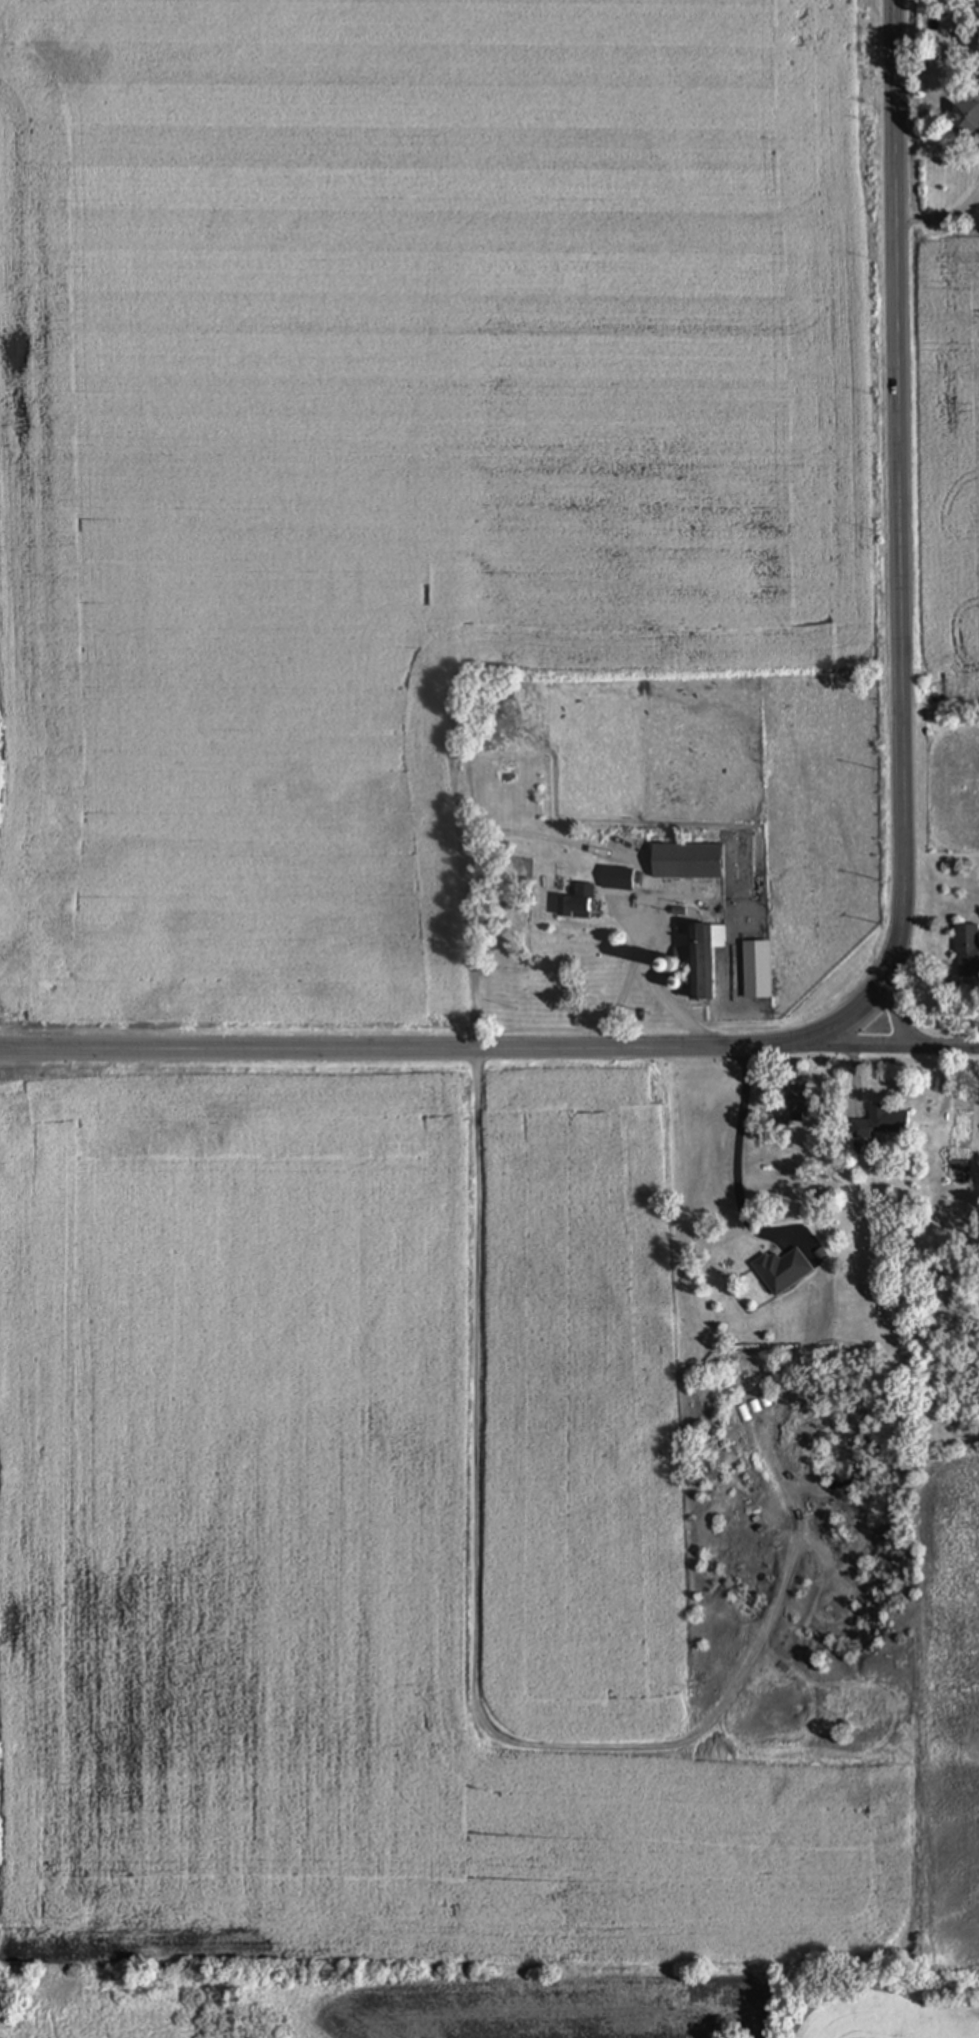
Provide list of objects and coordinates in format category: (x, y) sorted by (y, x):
building: (967, 119)
road: (938, 136)
road: (945, 217)
building: (689, 862)
building: (618, 879)
building: (578, 904)
road: (900, 946)
building: (968, 952)
building: (704, 960)
building: (757, 964)
road: (654, 986)
road: (621, 1000)
road: (861, 1050)
building: (799, 1104)
building: (883, 1124)
road: (737, 1162)
building: (782, 1272)

